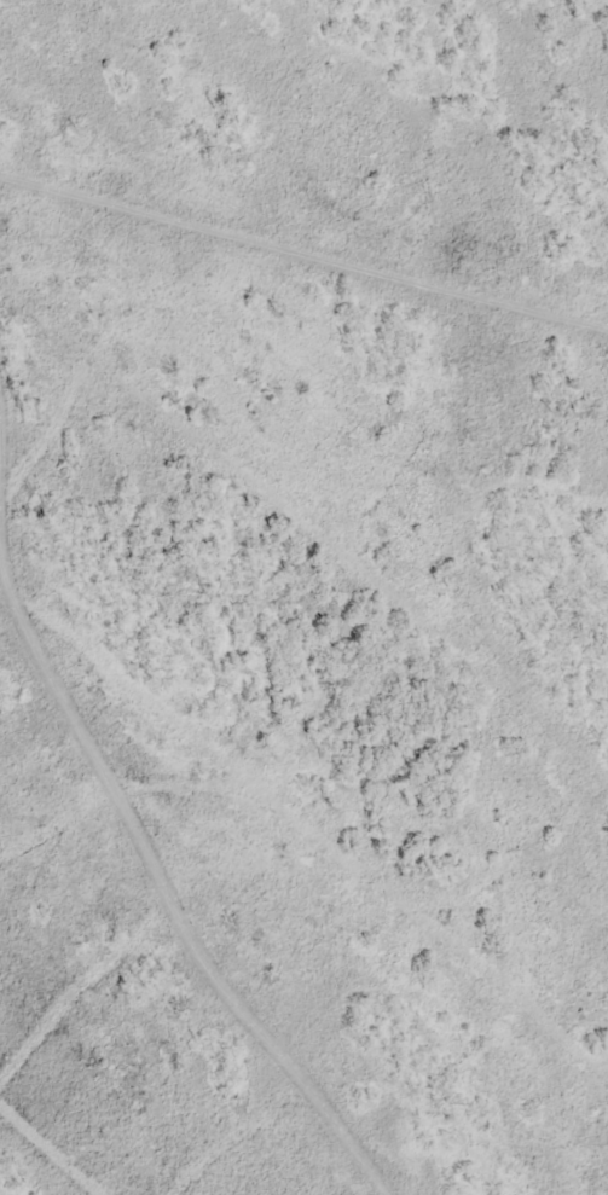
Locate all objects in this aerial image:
road: (554, 35)

